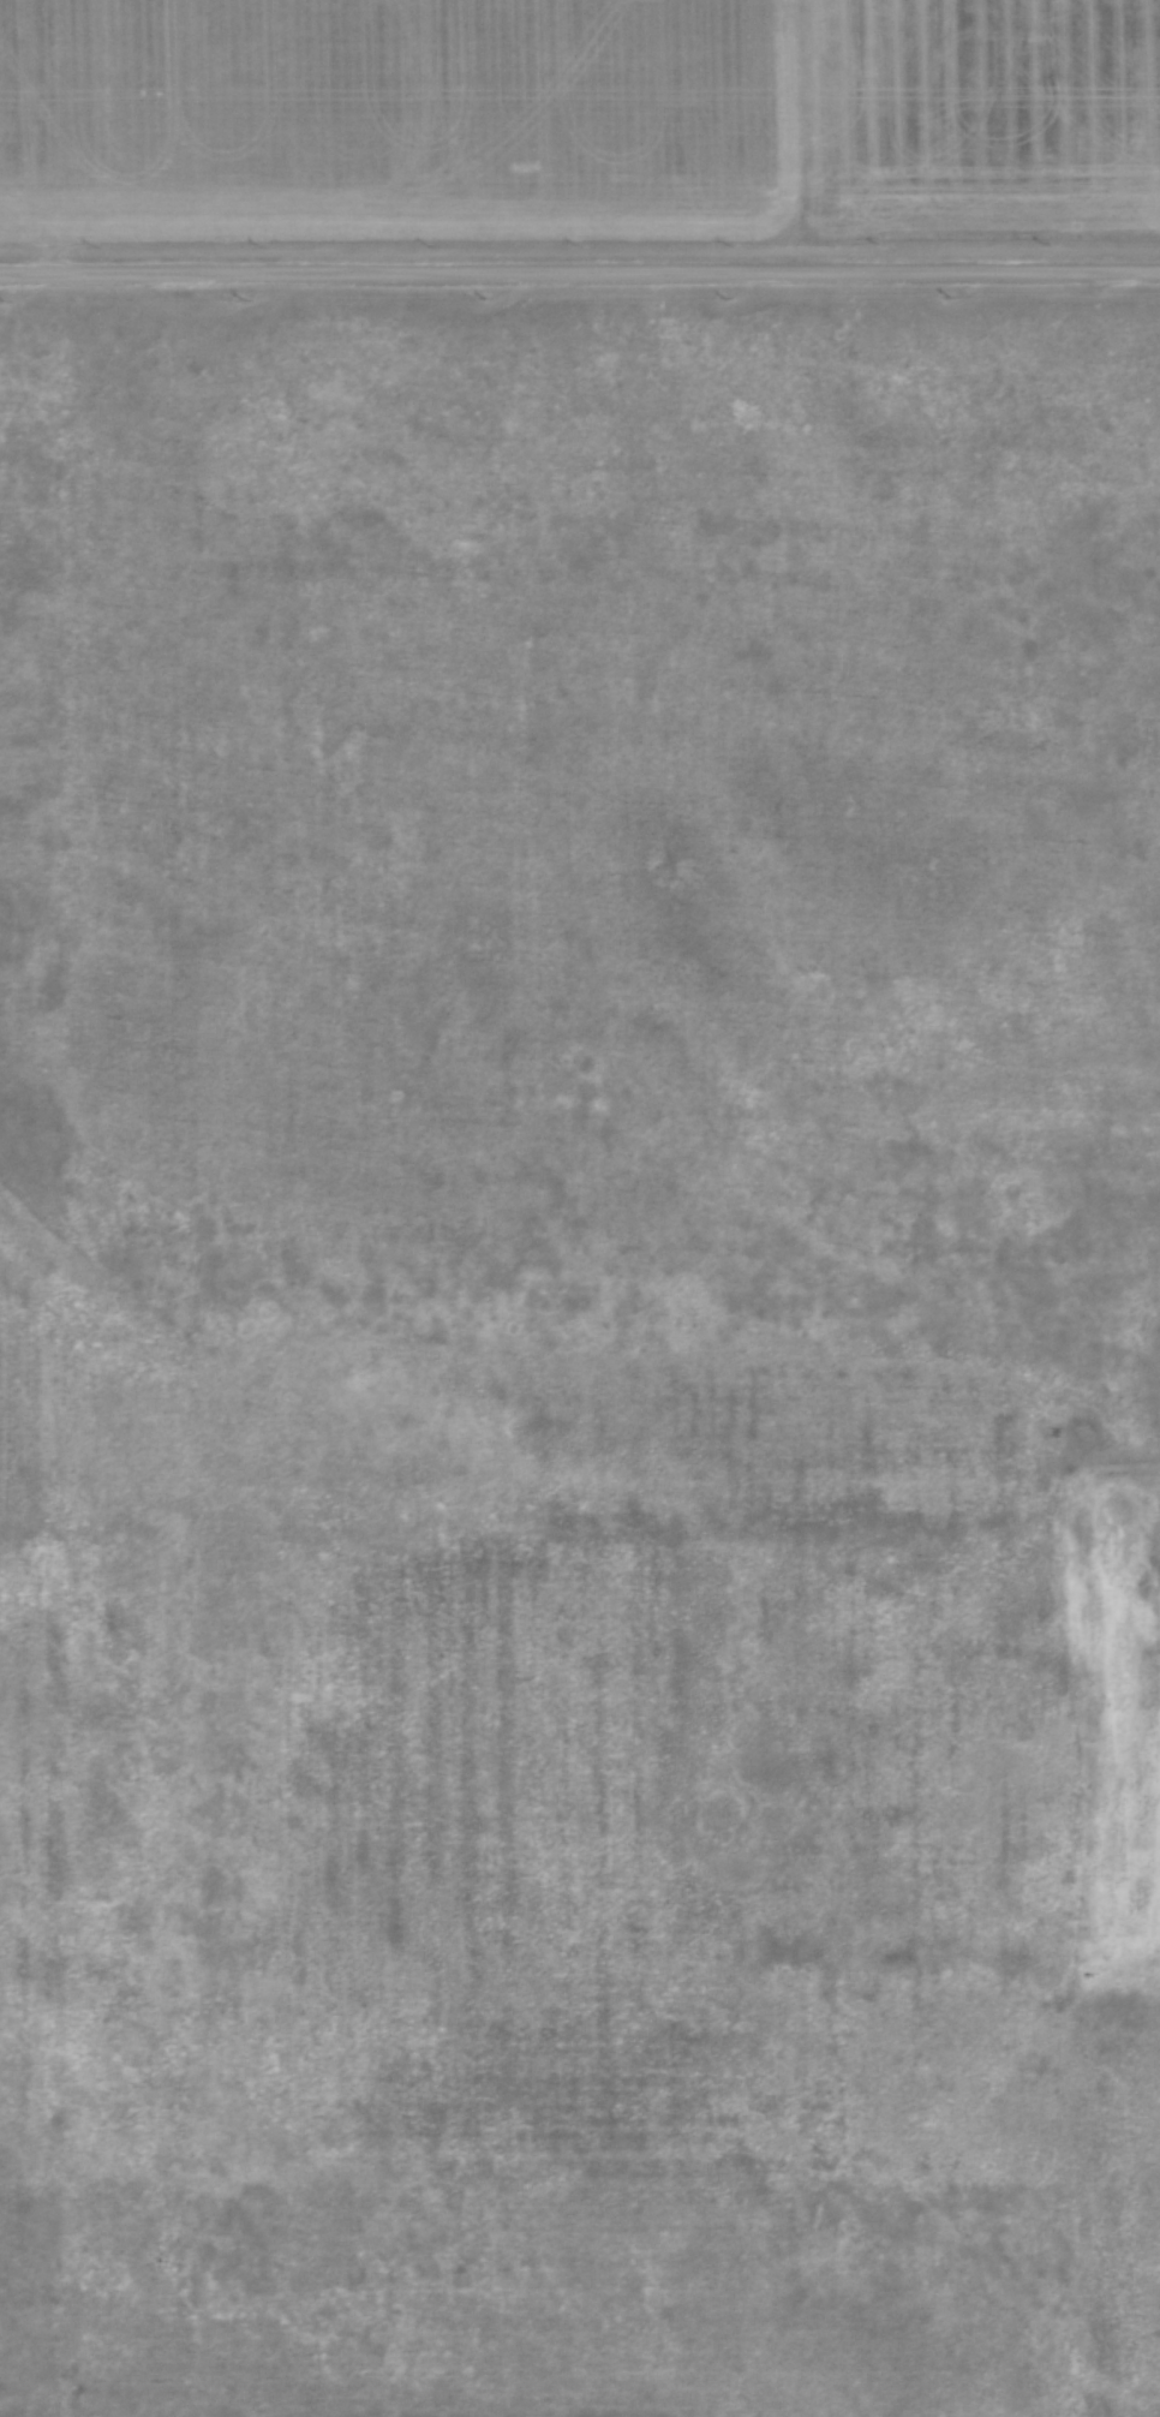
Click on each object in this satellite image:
crop: (578, 119)
road: (580, 271)
crop: (540, 1884)

